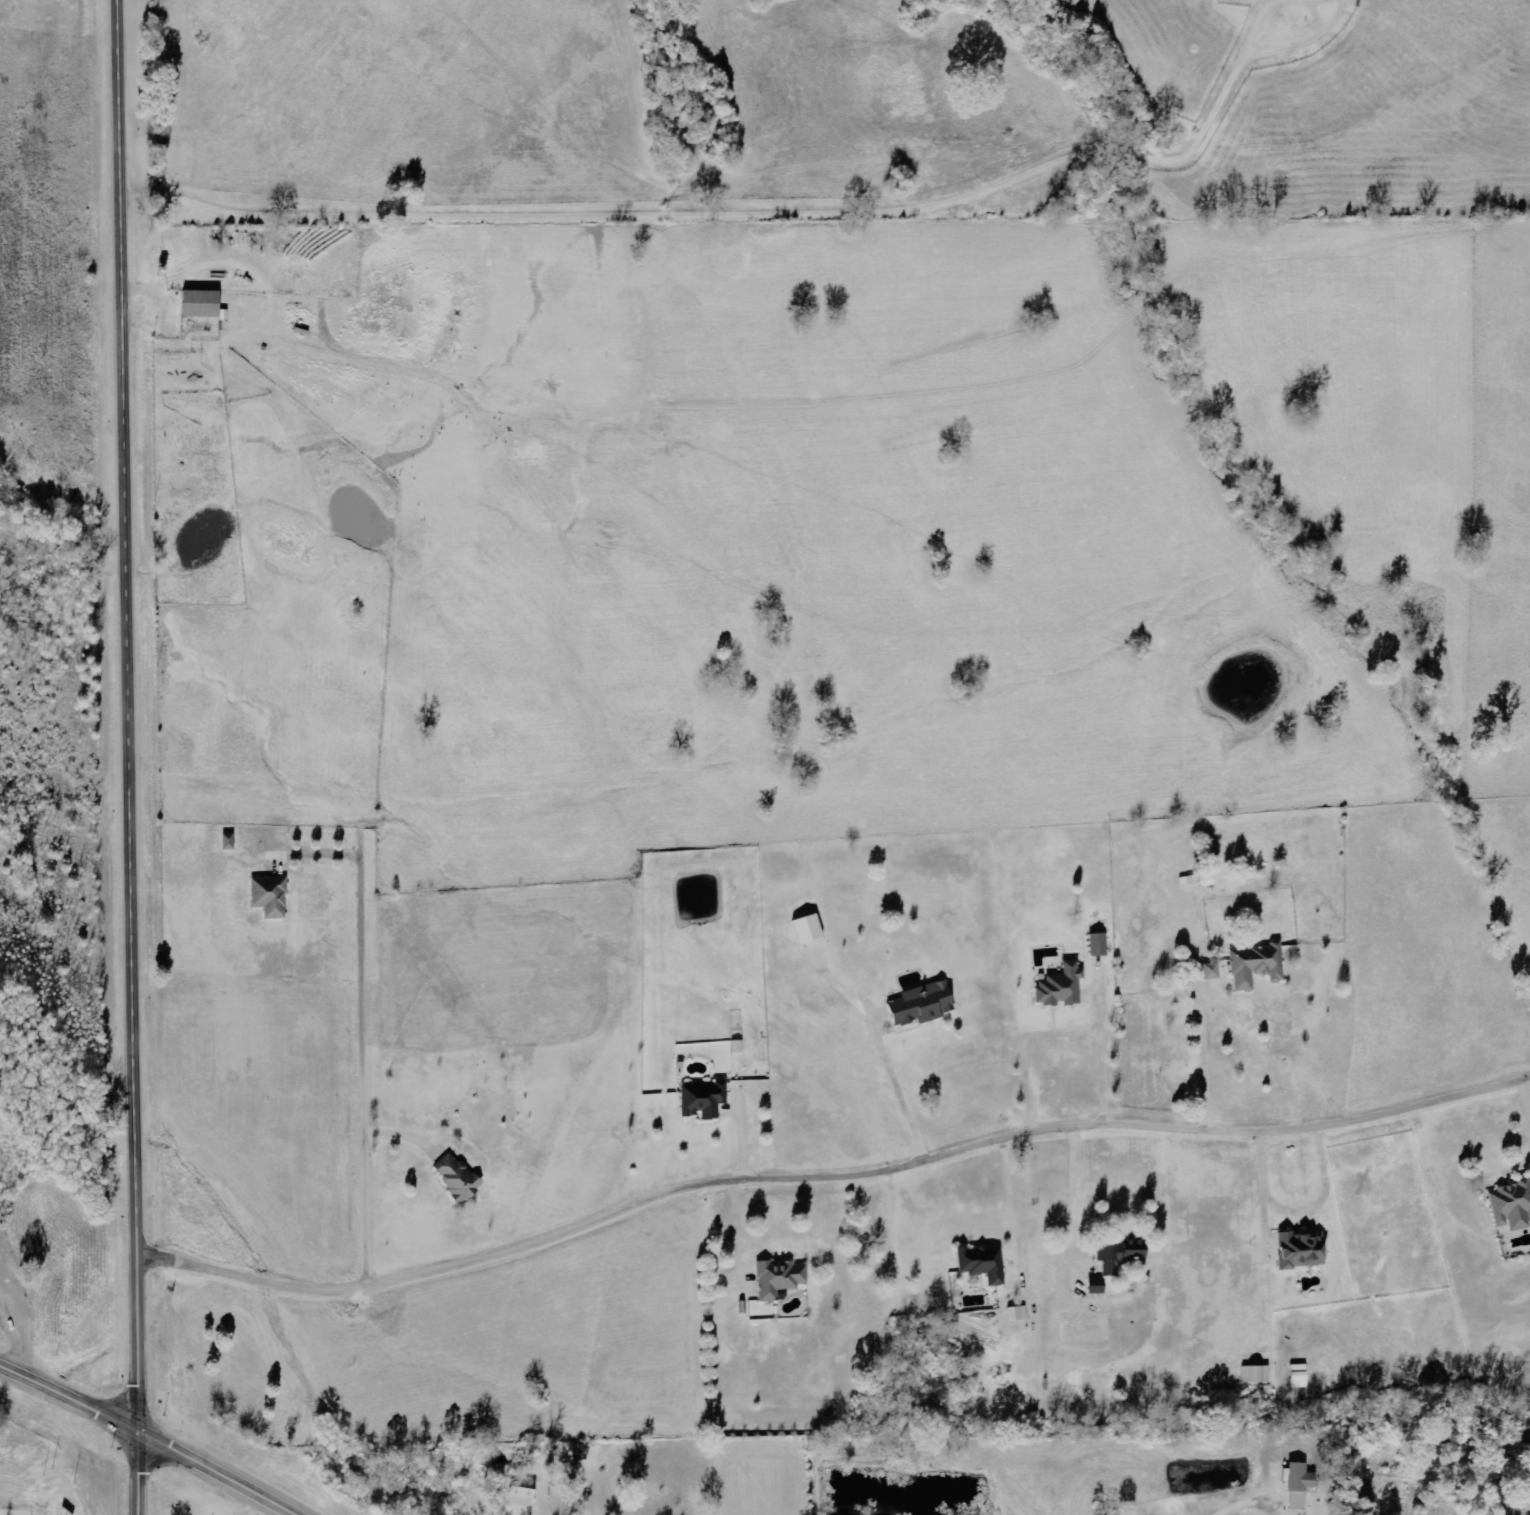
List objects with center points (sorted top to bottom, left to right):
building: (206, 304)
road: (129, 757)
building: (1196, 880)
building: (266, 892)
building: (812, 929)
building: (1096, 944)
building: (1255, 965)
building: (1210, 971)
building: (1058, 986)
building: (927, 1004)
road: (1062, 1033)
road: (1206, 1057)
road: (359, 1077)
road: (898, 1089)
road: (1526, 1096)
building: (707, 1100)
road: (830, 1175)
building: (457, 1179)
building: (1511, 1204)
road: (1300, 1211)
building: (1299, 1250)
building: (1117, 1257)
building: (986, 1263)
building: (783, 1278)
building: (1021, 1313)
building: (1254, 1374)
building: (1296, 1376)
road: (142, 1443)
building: (1296, 1485)
building: (528, 1494)
road: (1232, 1503)

